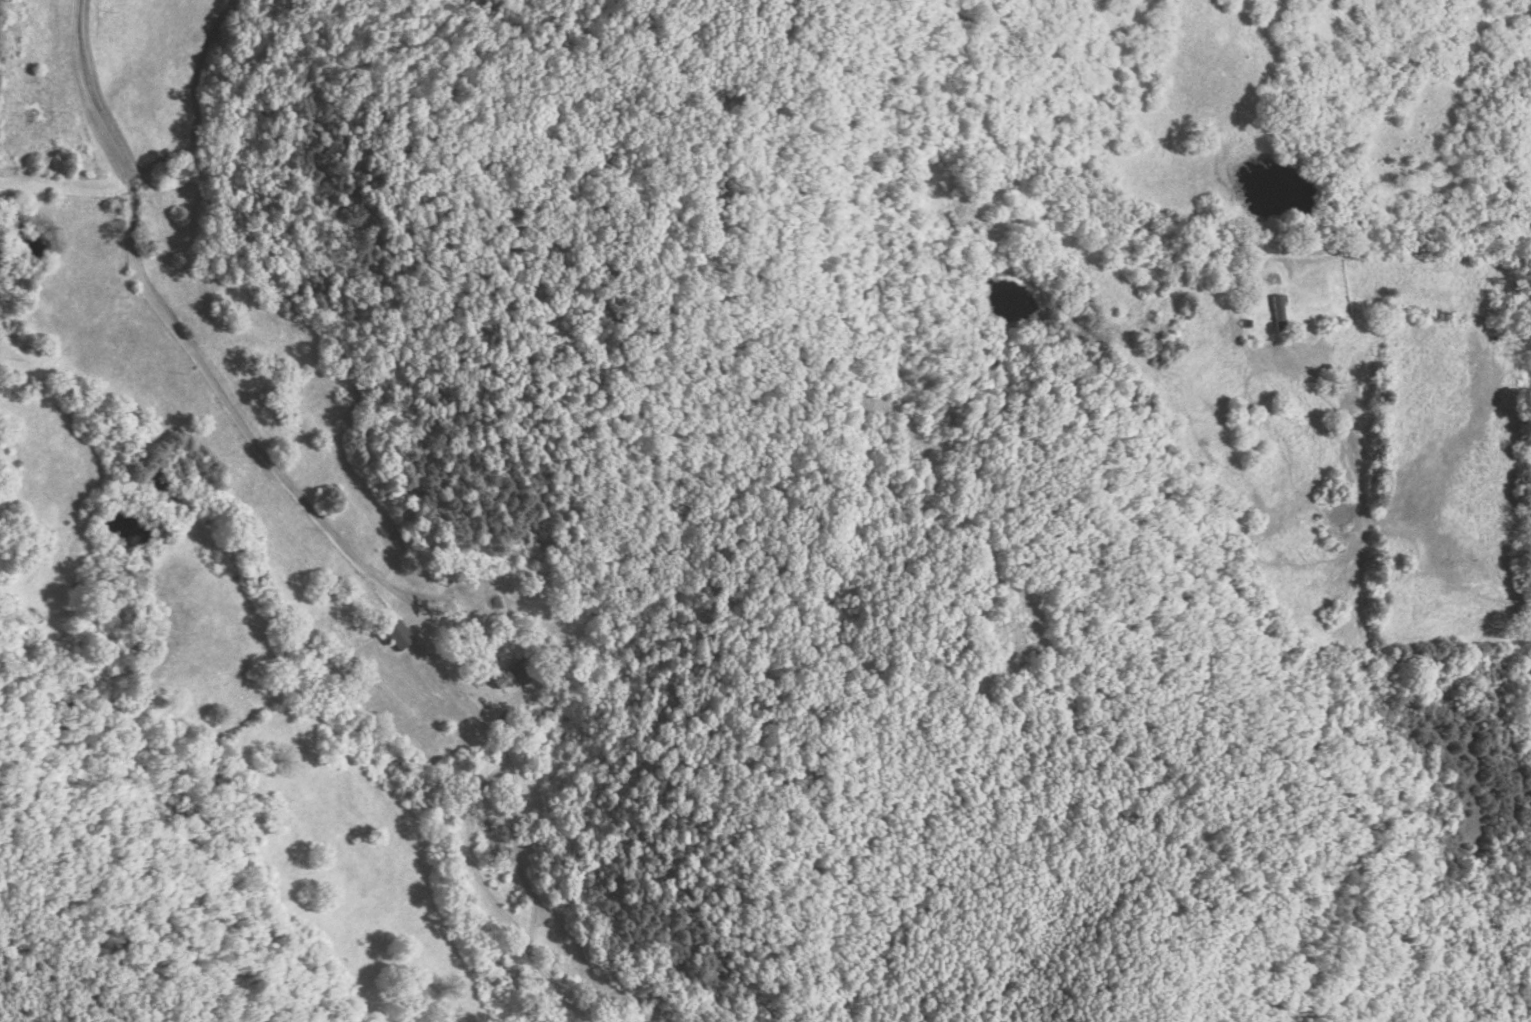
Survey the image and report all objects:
road: (843, 206)
building: (1277, 311)
road: (183, 341)
road: (846, 600)
building: (397, 635)
building: (501, 679)

